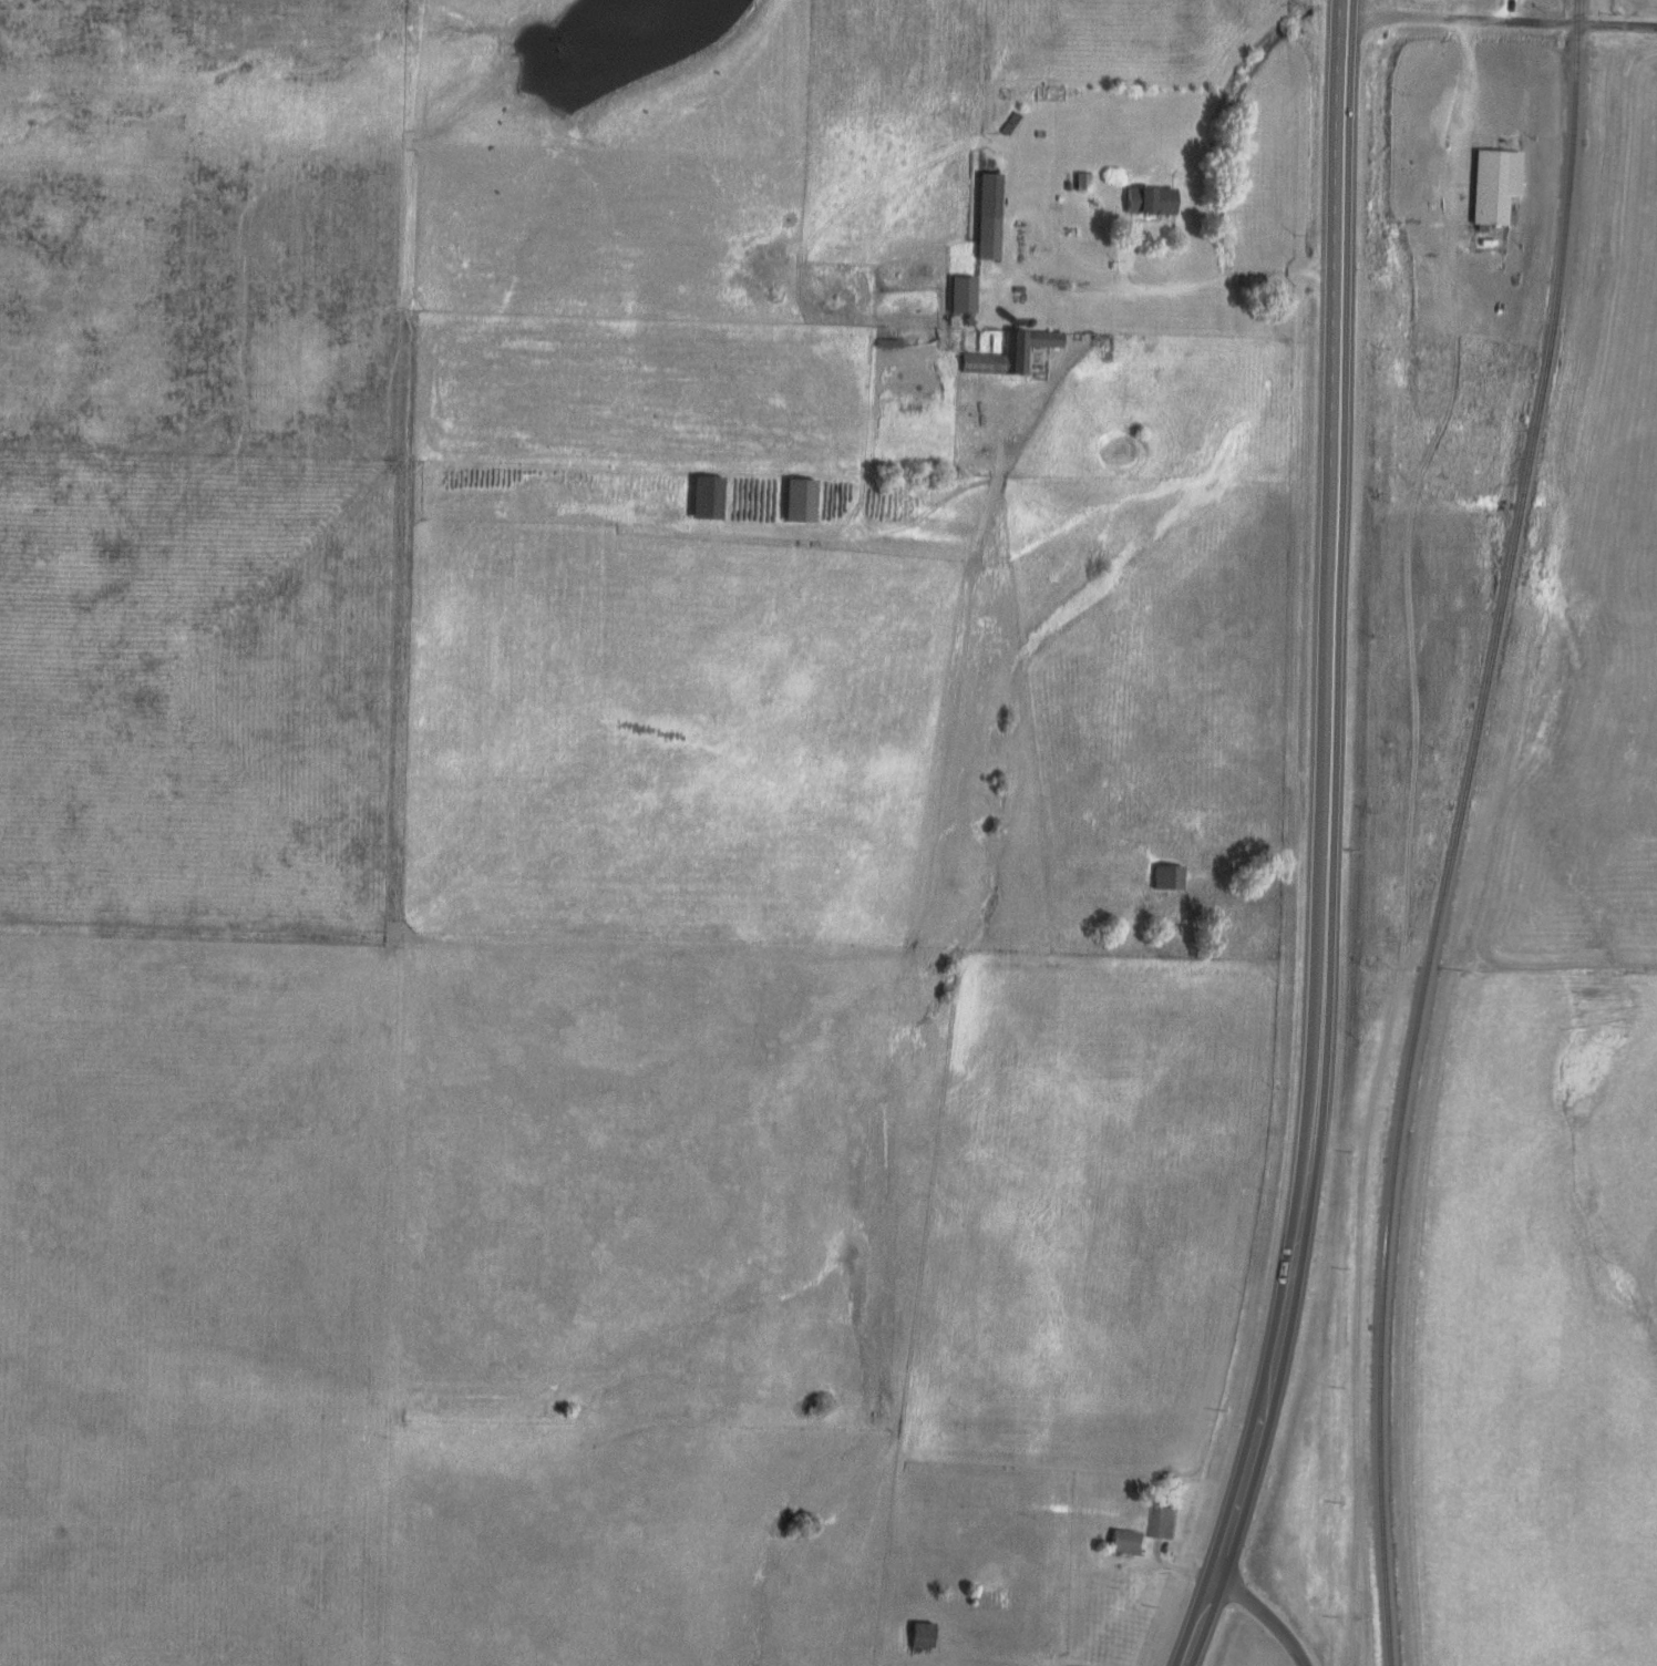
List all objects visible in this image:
road: (1503, 11)
road: (1499, 22)
building: (1492, 184)
building: (1147, 199)
building: (986, 216)
road: (1182, 289)
building: (960, 294)
road: (1063, 336)
building: (1009, 352)
building: (703, 497)
building: (795, 500)
road: (541, 637)
railway: (1452, 830)
road: (1321, 841)
road: (1407, 842)
building: (1166, 877)
building: (1164, 1522)
building: (1126, 1542)
road: (1264, 1615)
building: (919, 1635)

